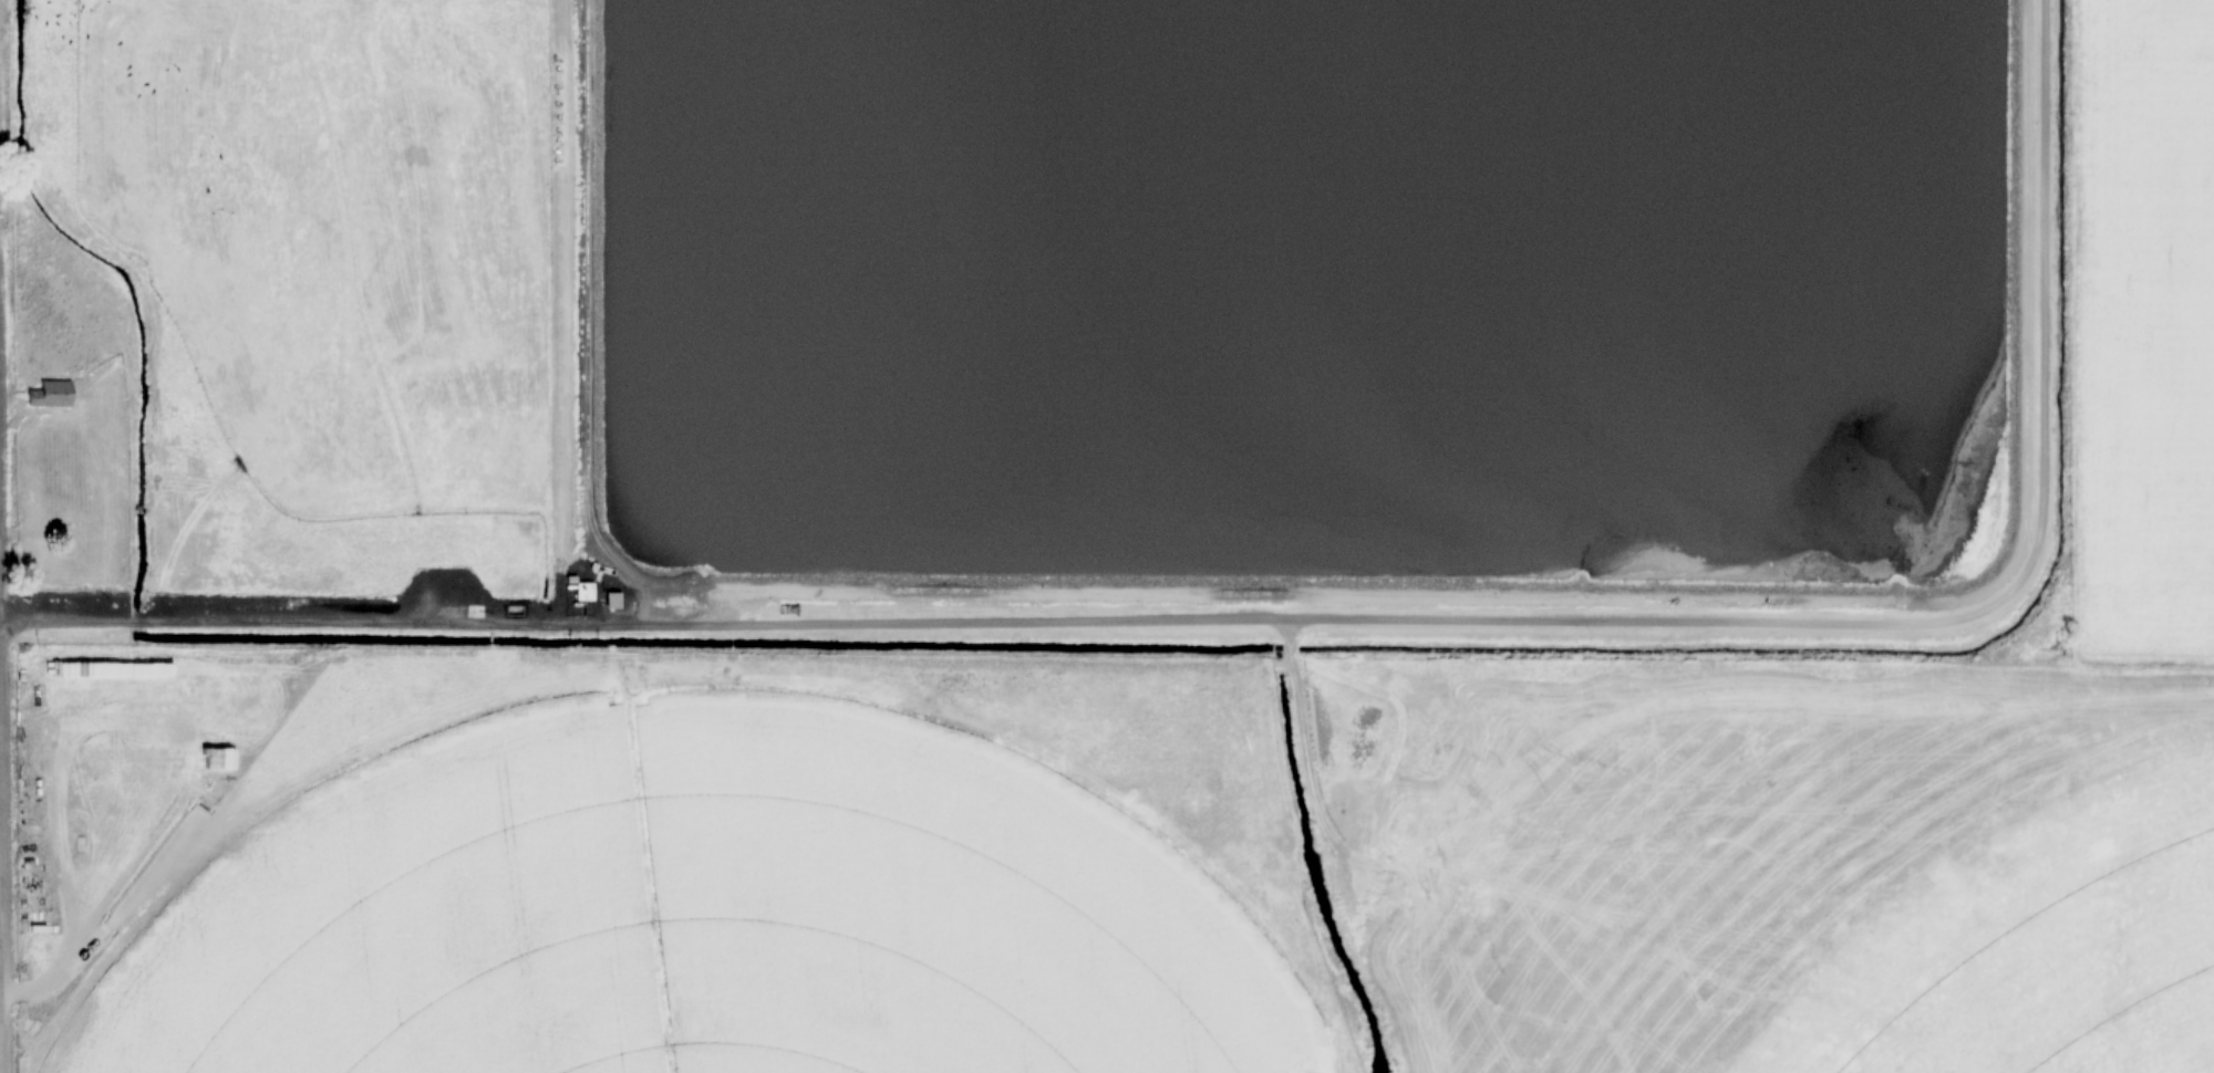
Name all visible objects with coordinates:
wastewater plant: (1308, 308)
building: (52, 395)
building: (92, 532)
building: (586, 591)
building: (614, 600)
road: (1310, 621)
crop: (2036, 949)

